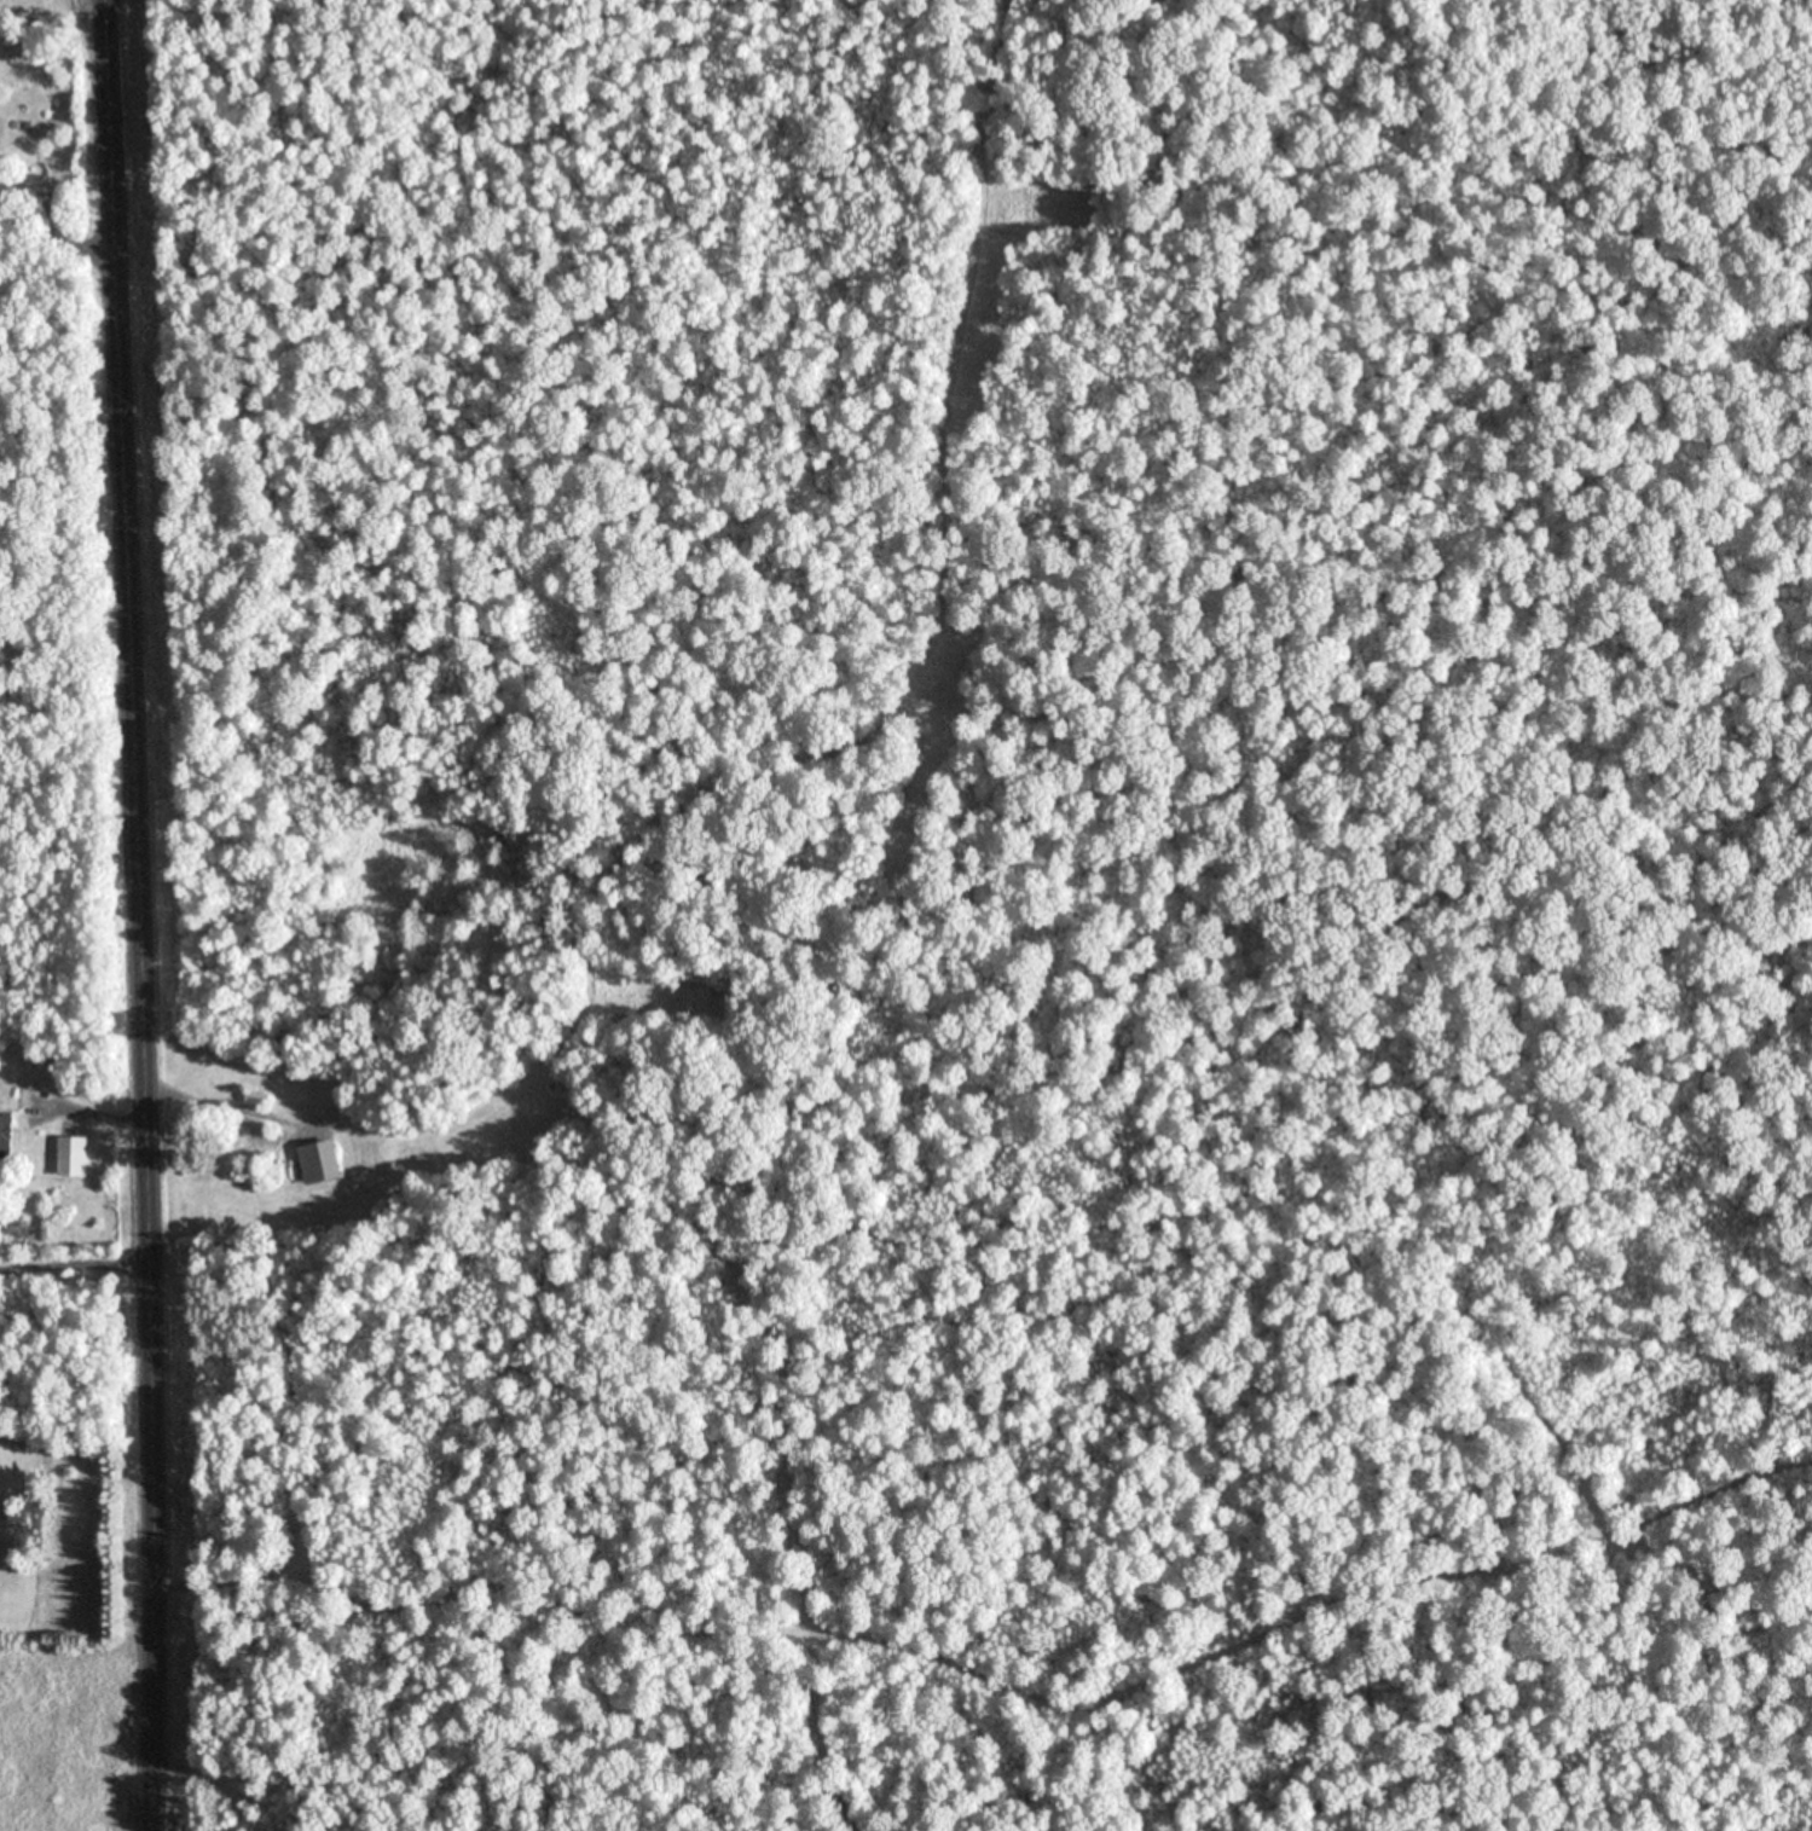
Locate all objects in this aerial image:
road: (156, 915)
building: (257, 1100)
building: (341, 1109)
building: (259, 1136)
building: (8, 1137)
building: (76, 1157)

